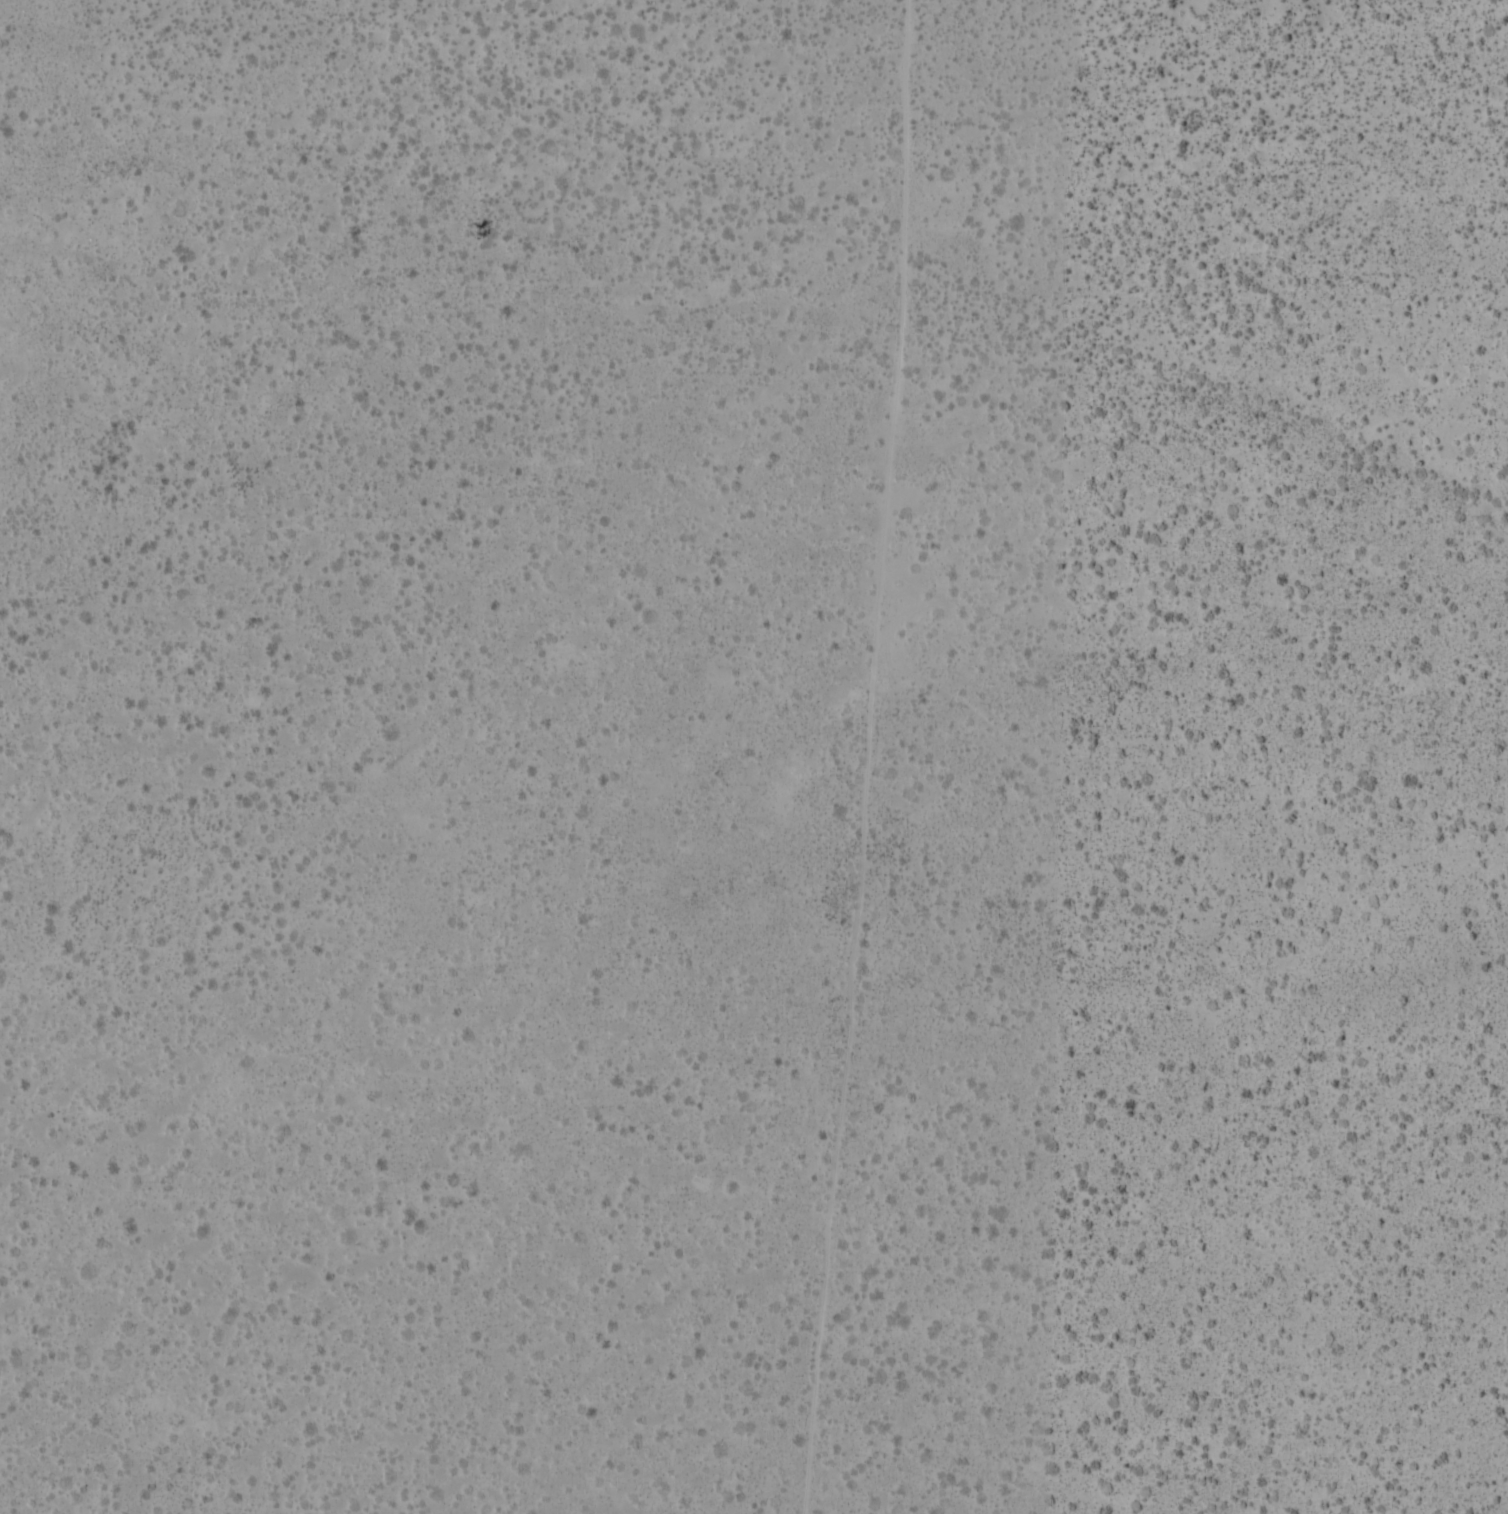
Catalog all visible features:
road: (878, 758)

